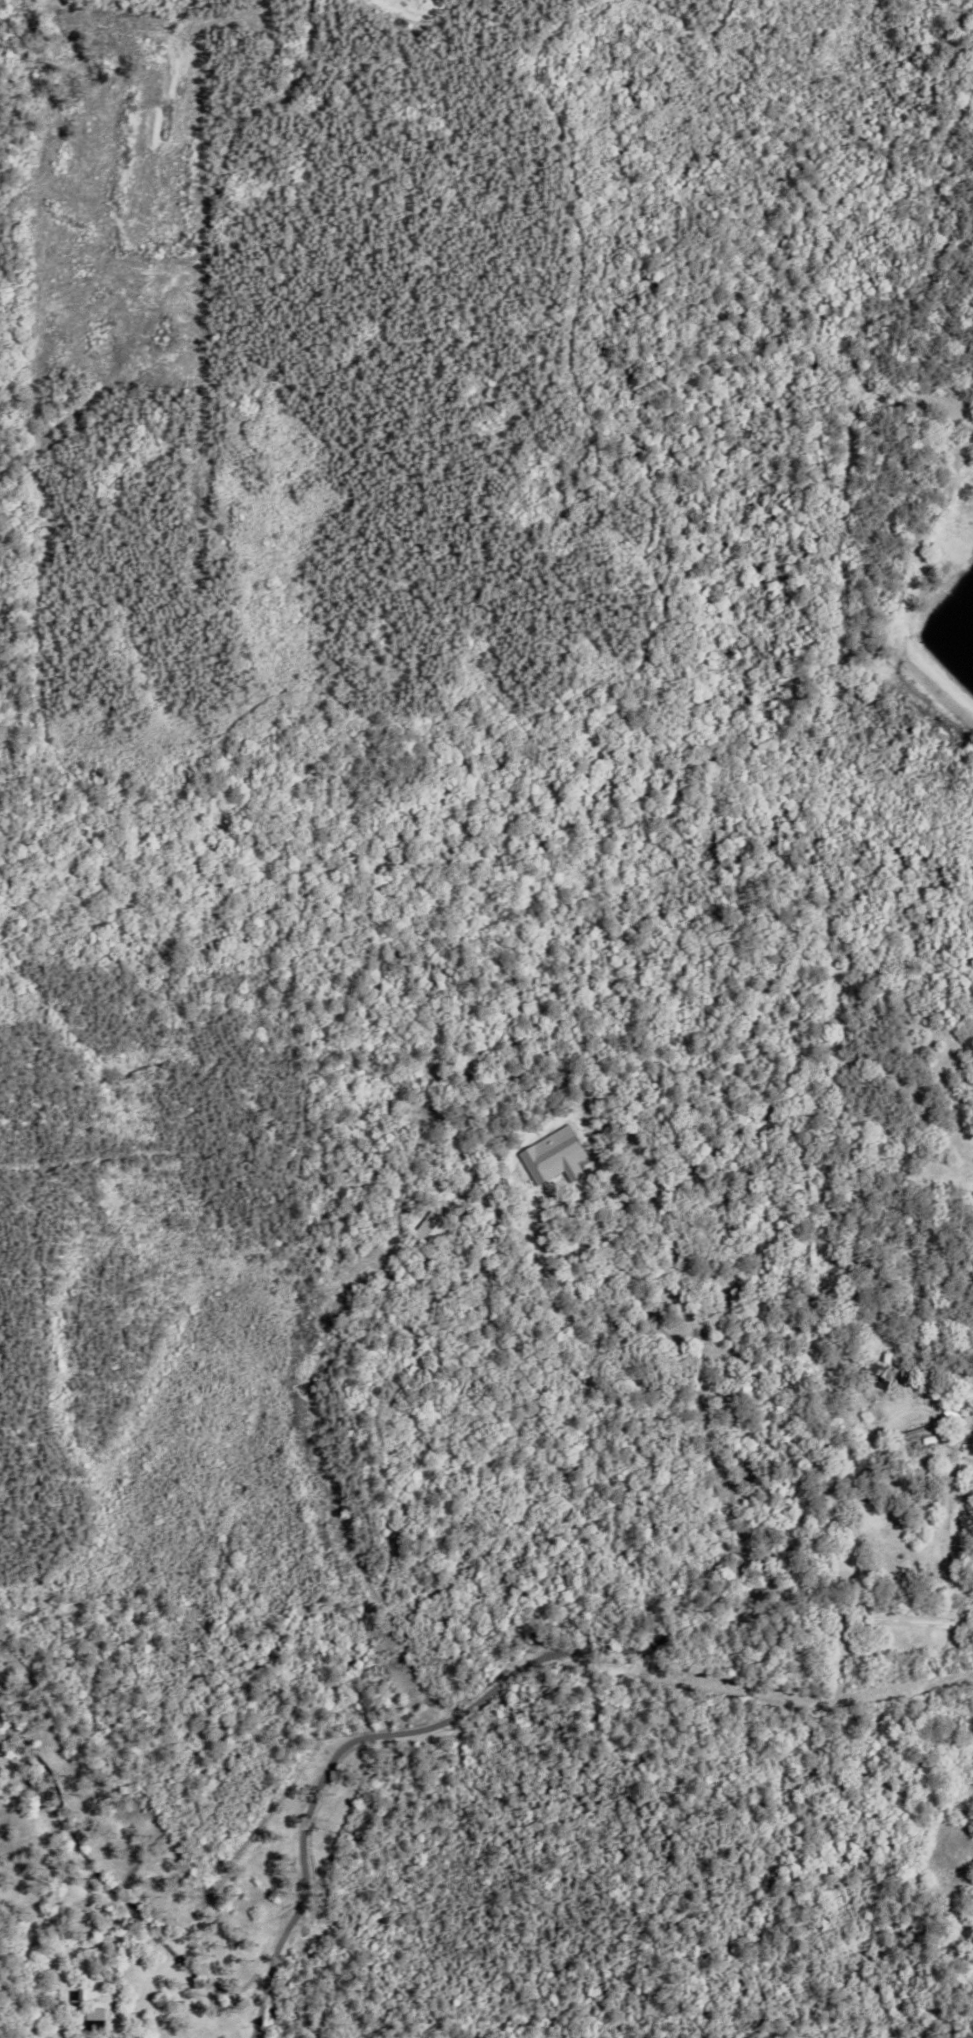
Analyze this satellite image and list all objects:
building: (872, 1372)
building: (917, 1438)
road: (951, 1520)
road: (500, 1682)
building: (92, 2024)
road: (136, 2036)

